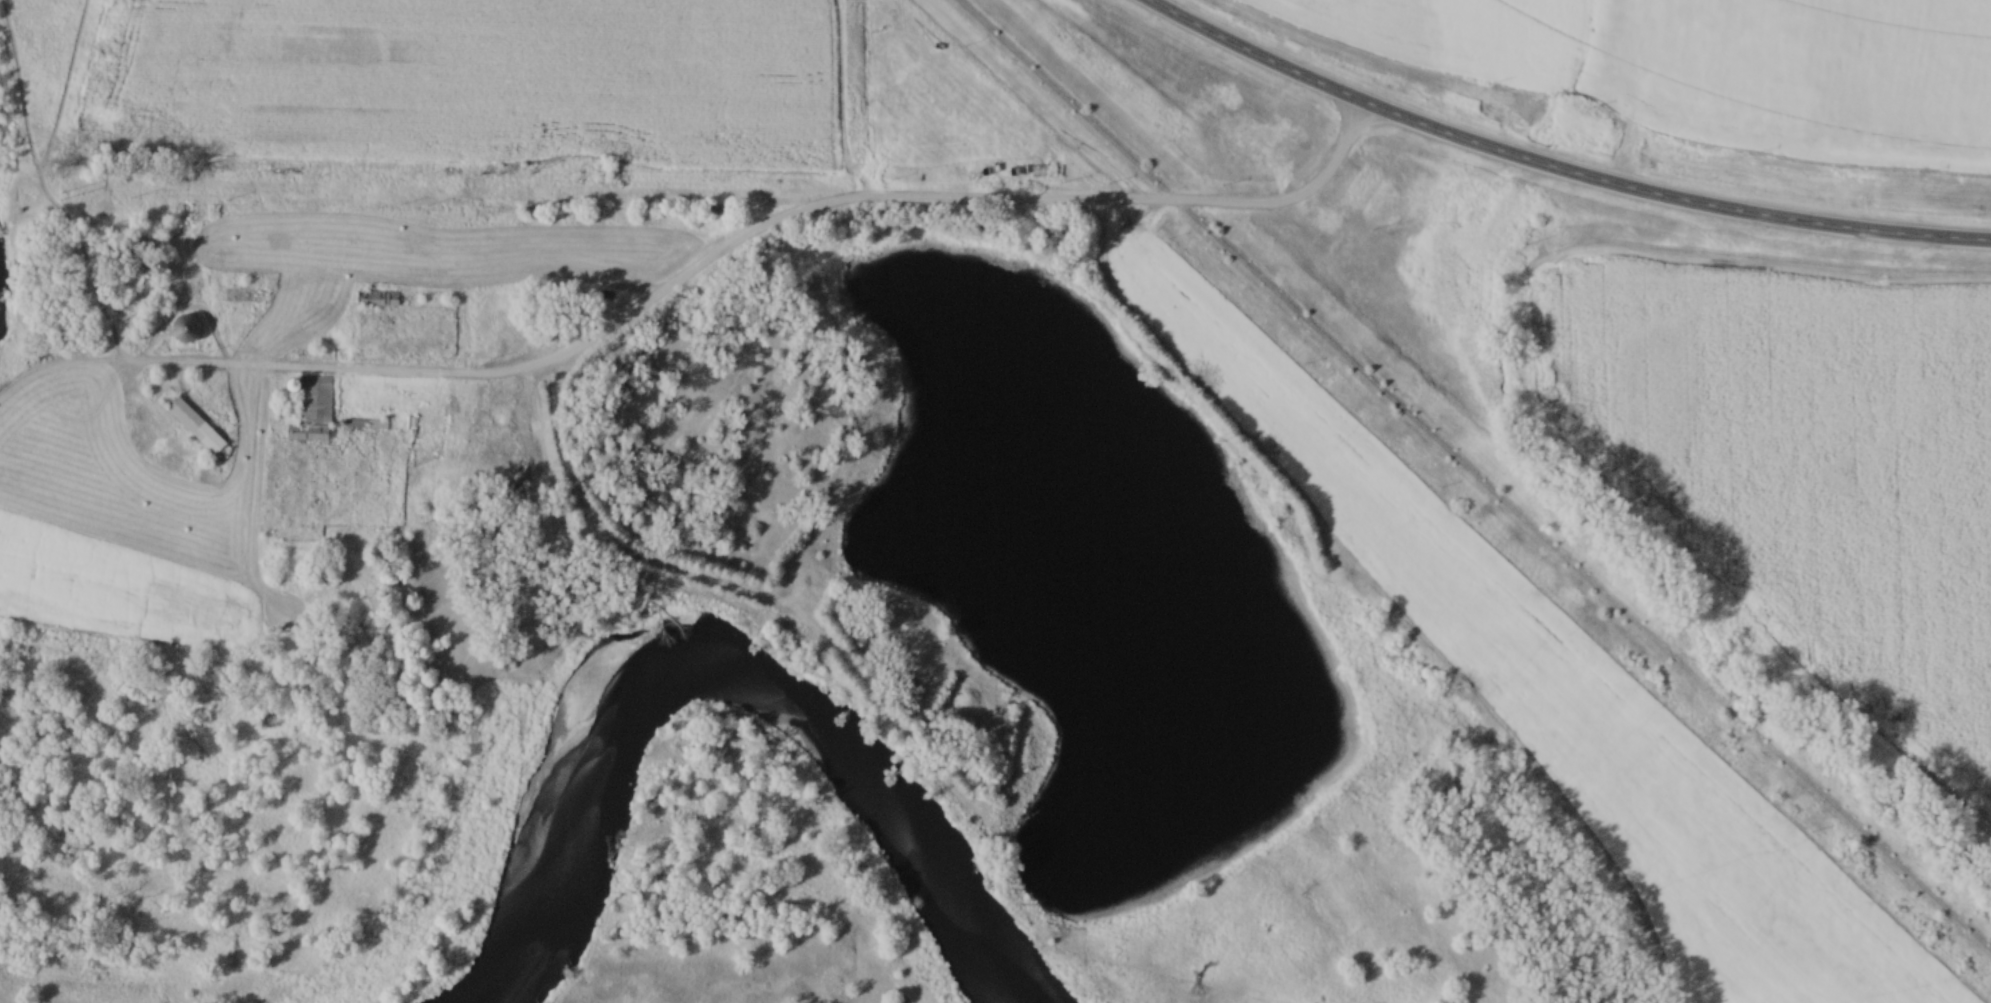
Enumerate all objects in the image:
railway: (1058, 101)
road: (1549, 173)
road: (967, 203)
building: (377, 299)
building: (186, 330)
building: (312, 411)
building: (196, 427)
road: (621, 558)
railway: (1581, 579)
river: (721, 671)

